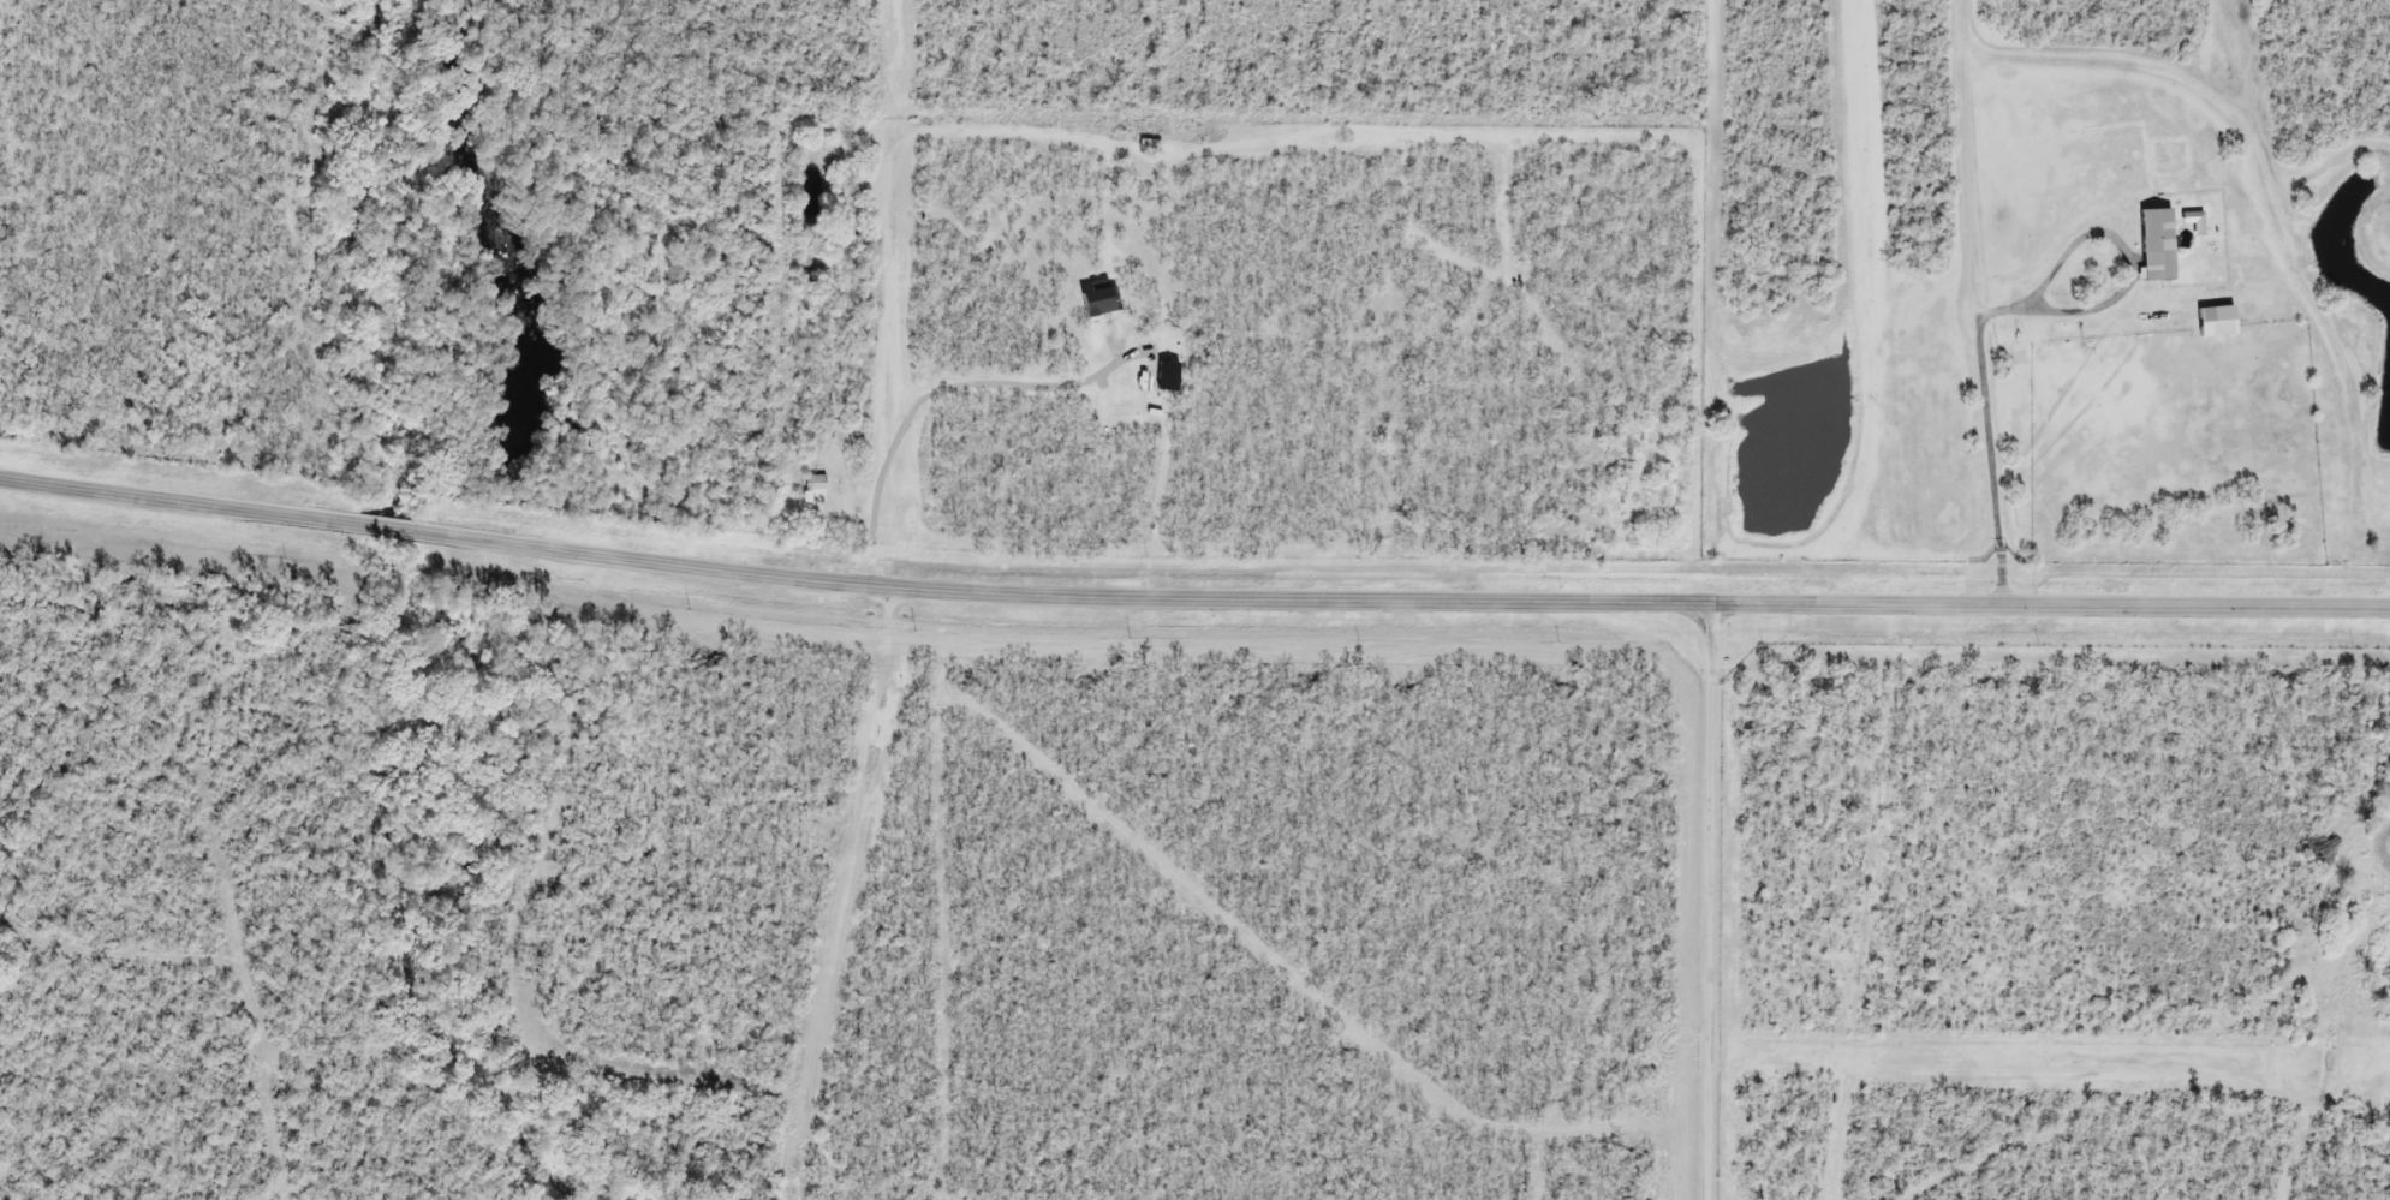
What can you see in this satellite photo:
building: (2156, 246)
road: (2126, 281)
road: (1975, 298)
road: (183, 505)
road: (393, 532)
road: (1402, 587)
road: (1711, 895)

